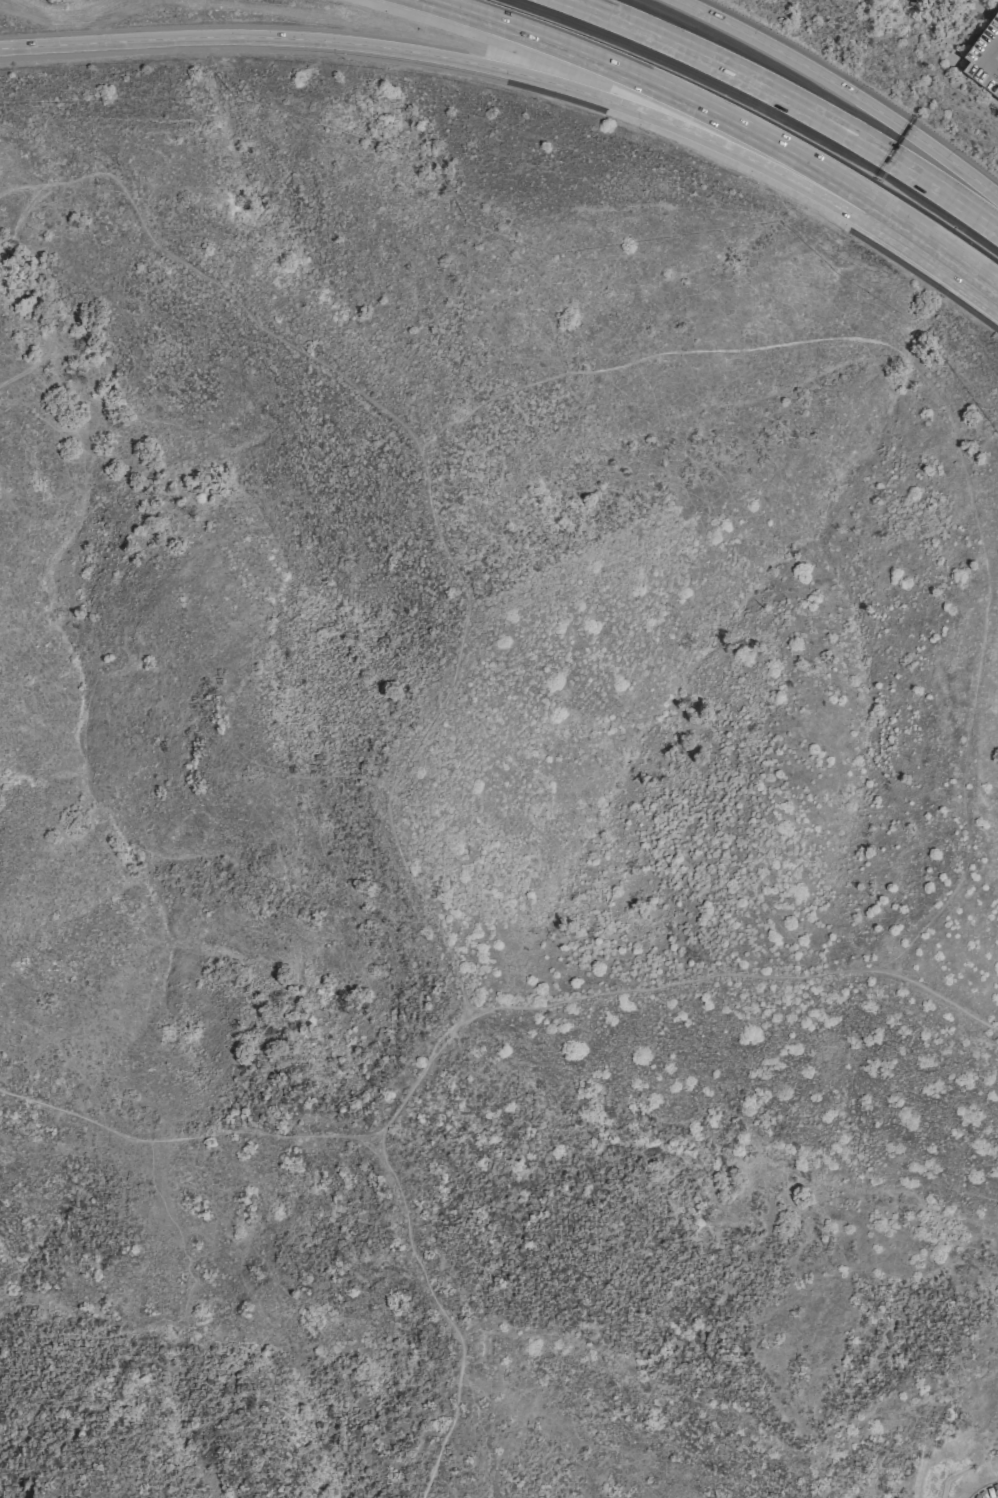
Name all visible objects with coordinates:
road: (445, 56)
building: (984, 56)
parking lot: (984, 56)
road: (651, 87)
road: (844, 90)
road: (789, 102)
road: (930, 254)
road: (649, 987)
road: (367, 1146)
parking lot: (988, 1493)

